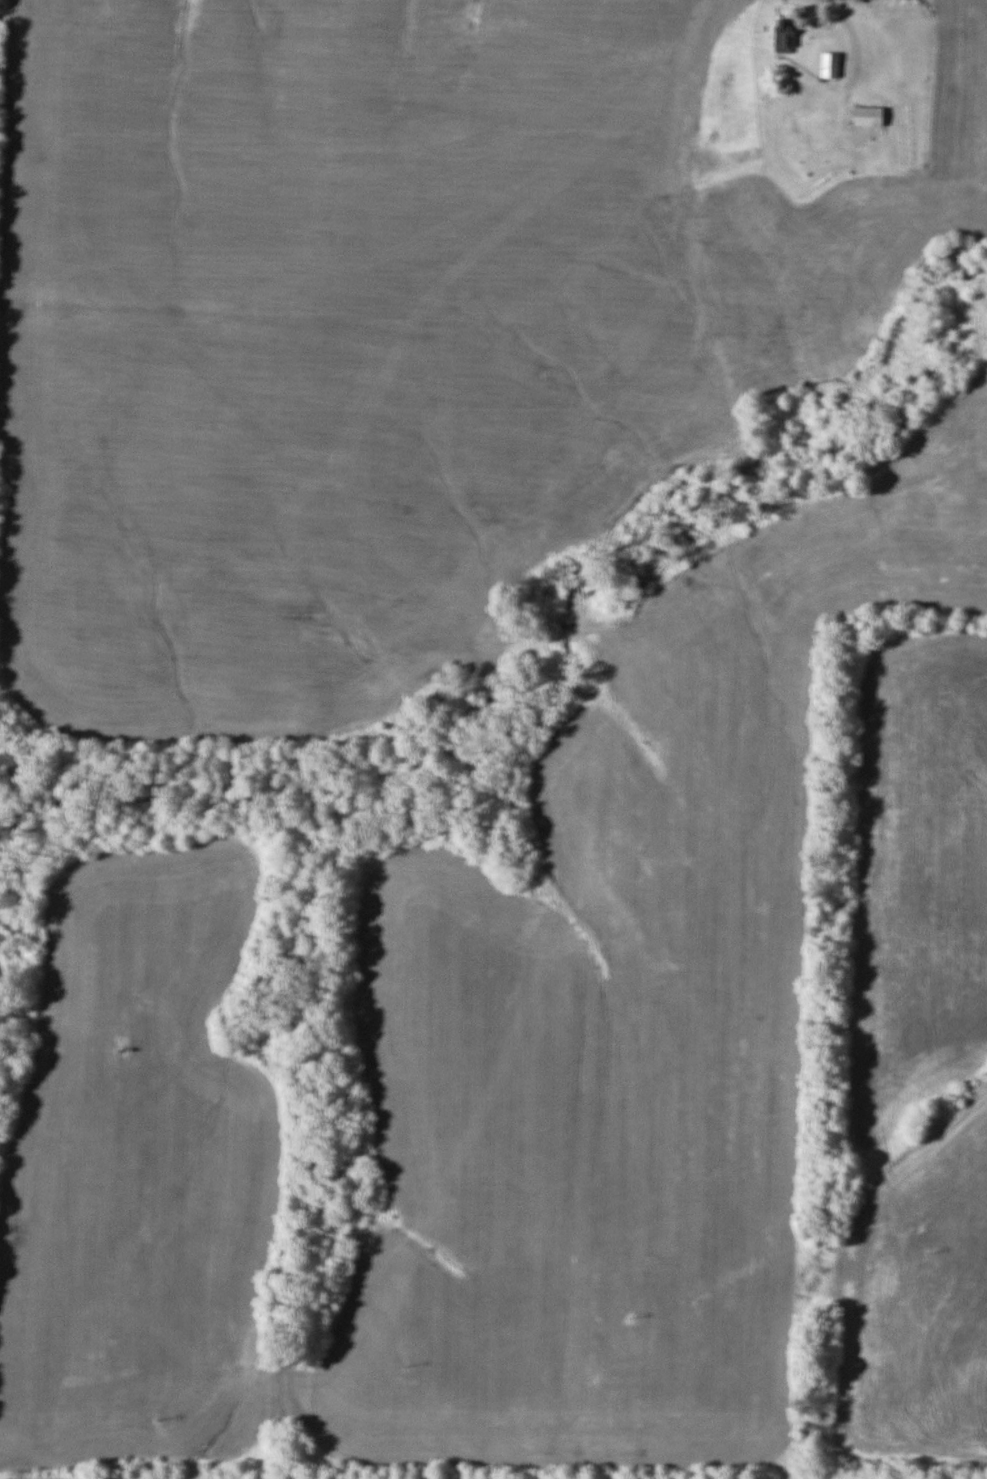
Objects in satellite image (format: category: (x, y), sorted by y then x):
building: (782, 36)
building: (828, 64)
building: (868, 118)

